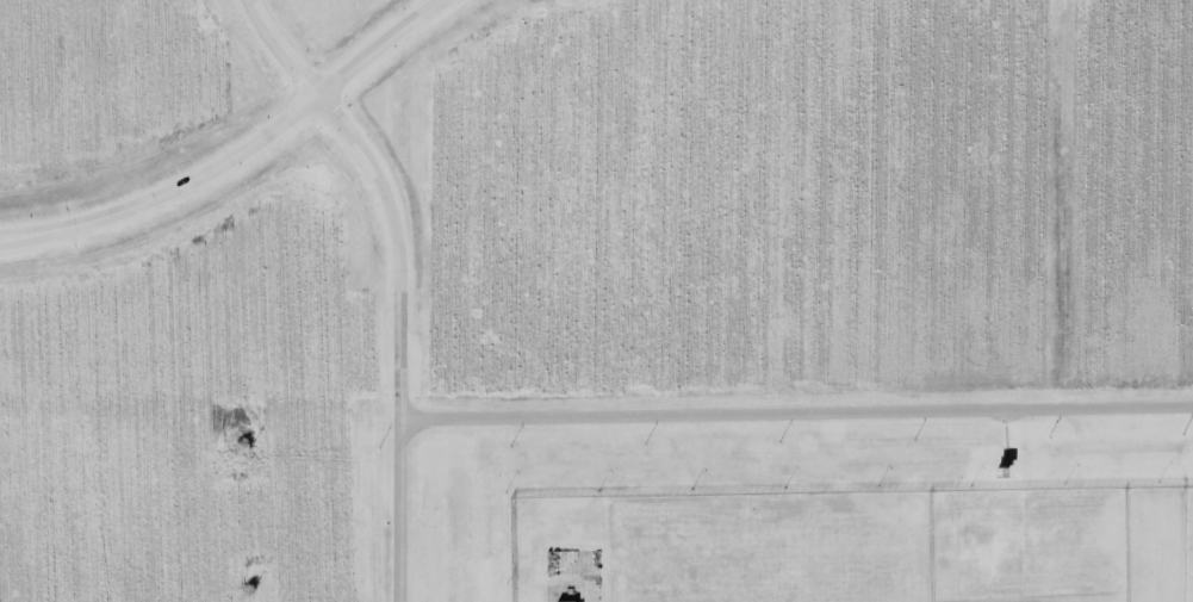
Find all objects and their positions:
road: (230, 148)
crop: (536, 238)
road: (398, 278)
road: (796, 411)
road: (591, 591)
building: (564, 601)

